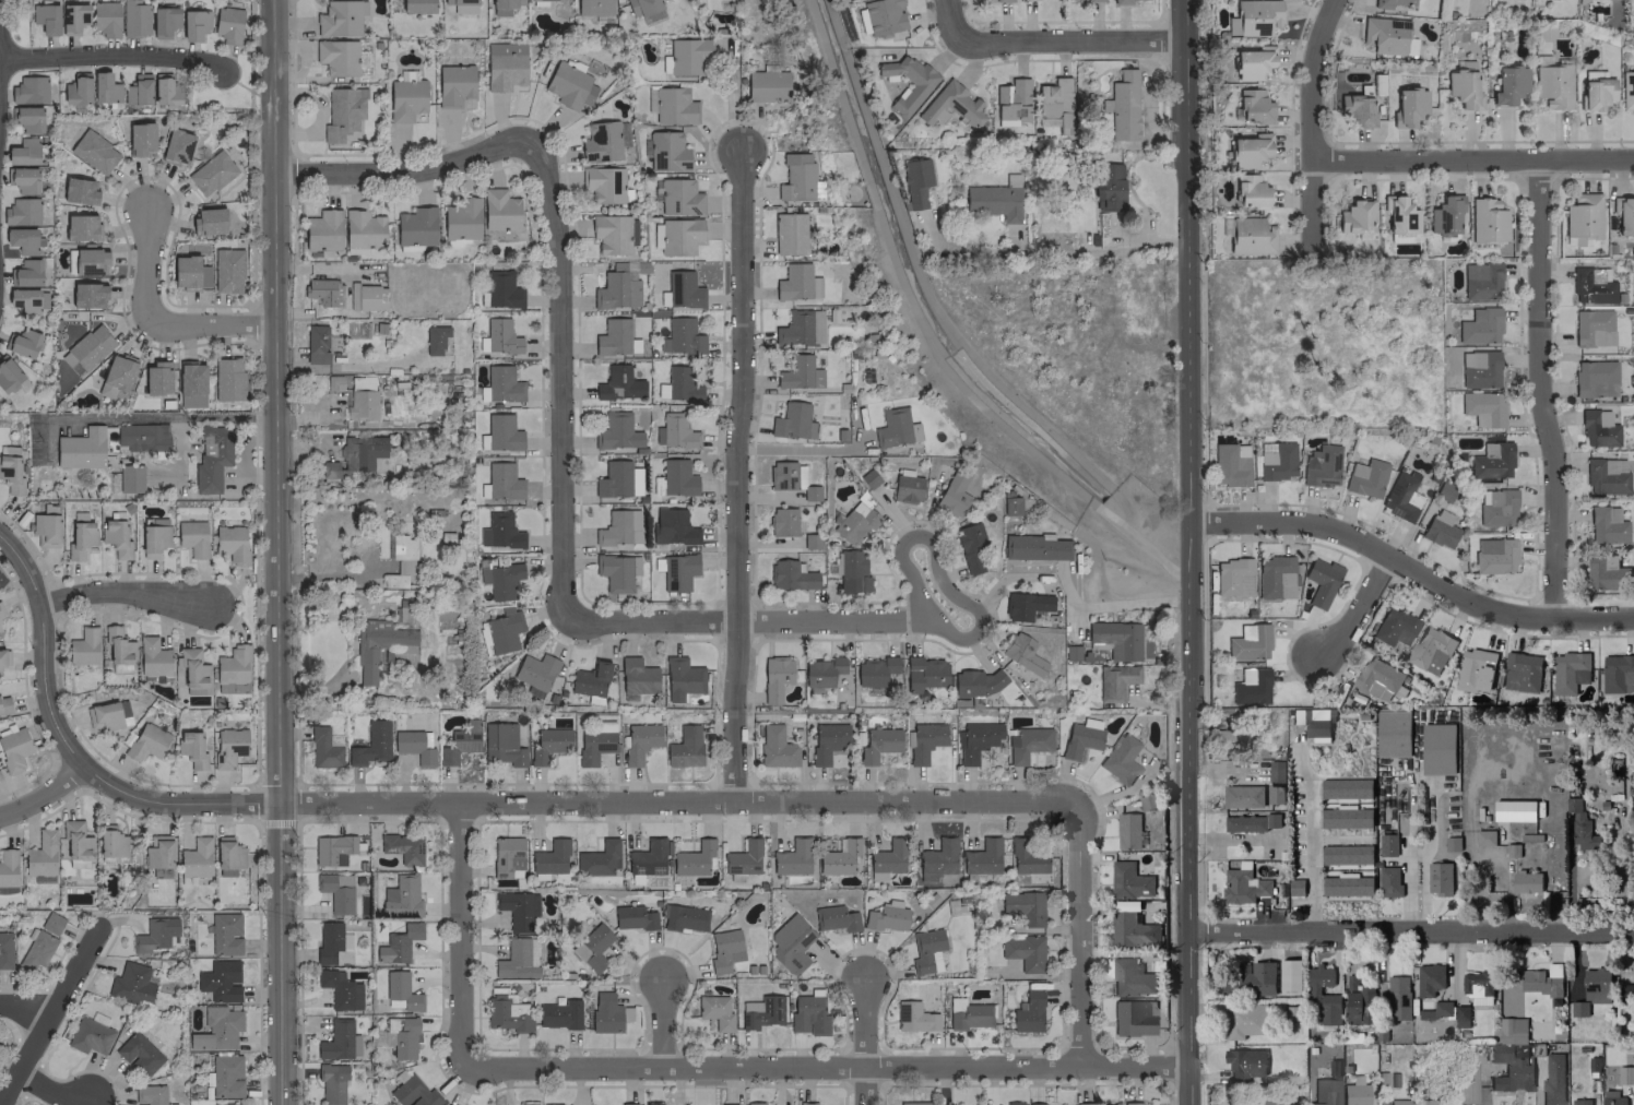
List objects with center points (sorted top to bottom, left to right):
building: (997, 0)
building: (1090, 0)
building: (1120, 2)
building: (1389, 3)
building: (416, 5)
building: (461, 5)
building: (504, 7)
building: (593, 7)
building: (644, 9)
building: (883, 16)
building: (45, 17)
building: (340, 17)
building: (1254, 17)
building: (105, 19)
building: (134, 19)
road: (950, 21)
building: (163, 22)
building: (193, 24)
building: (227, 24)
building: (1384, 35)
road: (1075, 41)
road: (113, 56)
building: (687, 56)
building: (336, 57)
building: (1252, 62)
building: (504, 66)
building: (910, 83)
building: (453, 84)
building: (1508, 84)
building: (569, 85)
building: (766, 85)
building: (1552, 85)
building: (1463, 86)
building: (104, 87)
building: (76, 88)
building: (28, 90)
building: (137, 90)
building: (1626, 90)
building: (165, 91)
building: (1595, 94)
building: (405, 99)
road: (732, 99)
building: (1011, 99)
building: (1055, 103)
building: (951, 105)
building: (1123, 105)
building: (673, 106)
building: (1253, 106)
building: (1408, 106)
building: (1355, 109)
building: (342, 112)
road: (1312, 116)
building: (27, 118)
building: (140, 139)
building: (603, 141)
building: (176, 146)
building: (1248, 151)
building: (23, 152)
building: (93, 152)
building: (666, 152)
road: (1472, 161)
building: (210, 173)
road: (403, 173)
building: (795, 178)
building: (22, 179)
building: (914, 182)
building: (603, 183)
building: (1108, 187)
building: (78, 191)
building: (1251, 191)
building: (678, 198)
building: (995, 199)
building: (499, 211)
building: (21, 212)
building: (1398, 214)
building: (1445, 214)
building: (1582, 215)
building: (1623, 215)
building: (1353, 216)
building: (461, 218)
building: (208, 221)
building: (1487, 221)
building: (415, 226)
building: (80, 227)
building: (363, 229)
building: (322, 230)
building: (788, 233)
building: (613, 234)
building: (1251, 235)
building: (655, 236)
building: (679, 236)
building: (21, 240)
road: (1063, 253)
road: (145, 263)
building: (227, 270)
building: (25, 273)
building: (189, 273)
building: (795, 278)
building: (1480, 281)
building: (1591, 285)
building: (501, 289)
building: (616, 289)
building: (684, 289)
building: (323, 290)
building: (87, 295)
building: (367, 297)
building: (27, 300)
road: (211, 322)
building: (1480, 325)
building: (800, 328)
building: (1592, 328)
building: (499, 336)
building: (680, 336)
building: (615, 337)
building: (434, 338)
building: (22, 343)
building: (316, 344)
building: (90, 346)
road: (359, 364)
building: (1479, 369)
building: (798, 372)
building: (116, 375)
building: (10, 377)
building: (156, 378)
building: (1594, 378)
building: (227, 379)
road: (560, 380)
building: (333, 382)
building: (190, 383)
building: (618, 383)
building: (500, 384)
building: (680, 384)
road: (1540, 392)
building: (360, 404)
building: (1482, 408)
road: (161, 416)
building: (792, 421)
building: (895, 427)
building: (1597, 428)
building: (616, 431)
building: (674, 431)
building: (501, 432)
building: (142, 437)
building: (80, 449)
road: (793, 449)
building: (354, 455)
building: (211, 458)
building: (1277, 461)
building: (1491, 461)
building: (1230, 464)
building: (1321, 465)
building: (10, 475)
building: (1605, 475)
building: (677, 477)
building: (1365, 477)
building: (130, 478)
road: (735, 478)
building: (791, 478)
building: (502, 480)
building: (615, 480)
building: (907, 488)
building: (952, 494)
building: (1401, 496)
building: (1009, 503)
building: (1495, 507)
building: (782, 521)
building: (856, 521)
building: (1606, 524)
building: (673, 526)
building: (619, 527)
building: (1440, 528)
building: (45, 530)
building: (499, 532)
building: (115, 537)
building: (154, 537)
building: (191, 537)
building: (80, 539)
building: (230, 543)
building: (970, 546)
building: (1033, 547)
road: (276, 551)
road: (1188, 552)
building: (1494, 556)
building: (400, 561)
road: (23, 566)
building: (853, 568)
road: (1411, 570)
building: (616, 571)
building: (677, 571)
building: (1607, 572)
building: (791, 574)
road: (329, 575)
building: (1232, 577)
building: (1275, 577)
building: (499, 580)
building: (1321, 581)
road: (121, 592)
road: (919, 597)
building: (1025, 605)
road: (1113, 606)
building: (0, 609)
road: (1357, 610)
building: (0, 617)
road: (743, 620)
building: (1393, 627)
building: (500, 630)
building: (1114, 639)
building: (1247, 642)
building: (82, 646)
building: (117, 650)
building: (1430, 650)
building: (1021, 653)
building: (3, 657)
building: (152, 657)
building: (365, 665)
building: (191, 667)
building: (1476, 669)
building: (534, 670)
building: (821, 670)
building: (874, 670)
building: (1521, 672)
building: (1570, 672)
building: (1618, 673)
building: (923, 674)
building: (636, 677)
building: (774, 677)
building: (680, 678)
building: (590, 679)
building: (1378, 679)
building: (975, 681)
building: (1114, 681)
building: (1250, 686)
road: (40, 687)
building: (3, 703)
building: (107, 715)
building: (1312, 721)
building: (603, 725)
building: (1393, 733)
building: (975, 739)
building: (1079, 739)
building: (640, 740)
building: (827, 740)
building: (146, 741)
building: (923, 741)
building: (460, 742)
building: (370, 744)
building: (501, 744)
building: (548, 744)
building: (878, 744)
building: (1027, 744)
building: (228, 746)
building: (414, 746)
building: (593, 746)
building: (684, 747)
building: (775, 747)
building: (190, 748)
building: (1437, 748)
building: (323, 749)
building: (13, 750)
building: (1120, 759)
road: (1220, 768)
building: (1276, 774)
building: (1346, 787)
building: (1276, 794)
road: (39, 795)
building: (1242, 796)
road: (570, 806)
building: (1514, 810)
building: (1346, 818)
building: (1252, 822)
building: (1580, 827)
building: (1129, 831)
building: (1484, 837)
building: (110, 843)
building: (1387, 844)
building: (1454, 844)
building: (75, 845)
building: (402, 847)
building: (332, 848)
building: (40, 854)
road: (1307, 854)
building: (1346, 854)
building: (158, 855)
building: (506, 855)
building: (227, 856)
building: (1026, 856)
building: (549, 857)
building: (647, 857)
building: (792, 857)
building: (838, 857)
building: (982, 857)
building: (194, 858)
building: (743, 858)
building: (597, 859)
building: (694, 859)
building: (886, 859)
building: (937, 859)
building: (108, 862)
building: (8, 867)
building: (1438, 878)
building: (1129, 880)
building: (1389, 881)
building: (1526, 881)
building: (1347, 886)
building: (1242, 887)
building: (335, 891)
building: (401, 895)
building: (1022, 906)
building: (517, 908)
building: (886, 916)
building: (632, 917)
building: (683, 917)
building: (834, 918)
building: (51, 923)
building: (1133, 930)
road: (1410, 932)
building: (154, 934)
building: (224, 934)
road: (459, 935)
road: (1080, 938)
building: (330, 941)
building: (398, 943)
building: (793, 944)
building: (592, 947)
building: (4, 950)
building: (35, 950)
building: (724, 950)
building: (925, 951)
building: (1023, 952)
building: (517, 959)
building: (1290, 974)
building: (1130, 978)
building: (1429, 978)
building: (1250, 979)
building: (1542, 979)
building: (218, 981)
building: (131, 984)
building: (1477, 987)
building: (1626, 988)
building: (340, 989)
building: (1592, 989)
building: (401, 990)
building: (1324, 995)
building: (1398, 997)
building: (1359, 1001)
building: (1437, 1010)
road: (24, 1011)
building: (714, 1011)
building: (507, 1012)
building: (761, 1012)
building: (1028, 1012)
building: (607, 1013)
building: (967, 1013)
building: (559, 1014)
building: (808, 1014)
road: (49, 1015)
building: (1461, 1015)
building: (913, 1017)
building: (1133, 1018)
building: (1244, 1020)
road: (663, 1024)
building: (216, 1029)
building: (1512, 1030)
building: (90, 1034)
building: (404, 1038)
road: (866, 1039)
building: (338, 1041)
building: (1500, 1053)
building: (139, 1054)
building: (1244, 1062)
road: (826, 1068)
building: (226, 1076)
building: (1624, 1076)
building: (1513, 1077)
building: (1552, 1079)
building: (331, 1082)
building: (1325, 1090)
road: (51, 1091)
building: (1354, 1092)
building: (412, 1093)
building: (150, 1095)
building: (1612, 1097)
building: (1276, 1102)
building: (1398, 1102)
building: (1433, 1102)
building: (1580, 1102)
building: (224, 1103)
building: (628, 1103)
building: (754, 1103)
building: (806, 1103)
building: (912, 1103)
building: (1014, 1103)
building: (1084, 1103)
building: (1132, 1103)
building: (526, 1104)
building: (552, 1104)
building: (654, 1104)
building: (943, 1104)
building: (1058, 1104)

